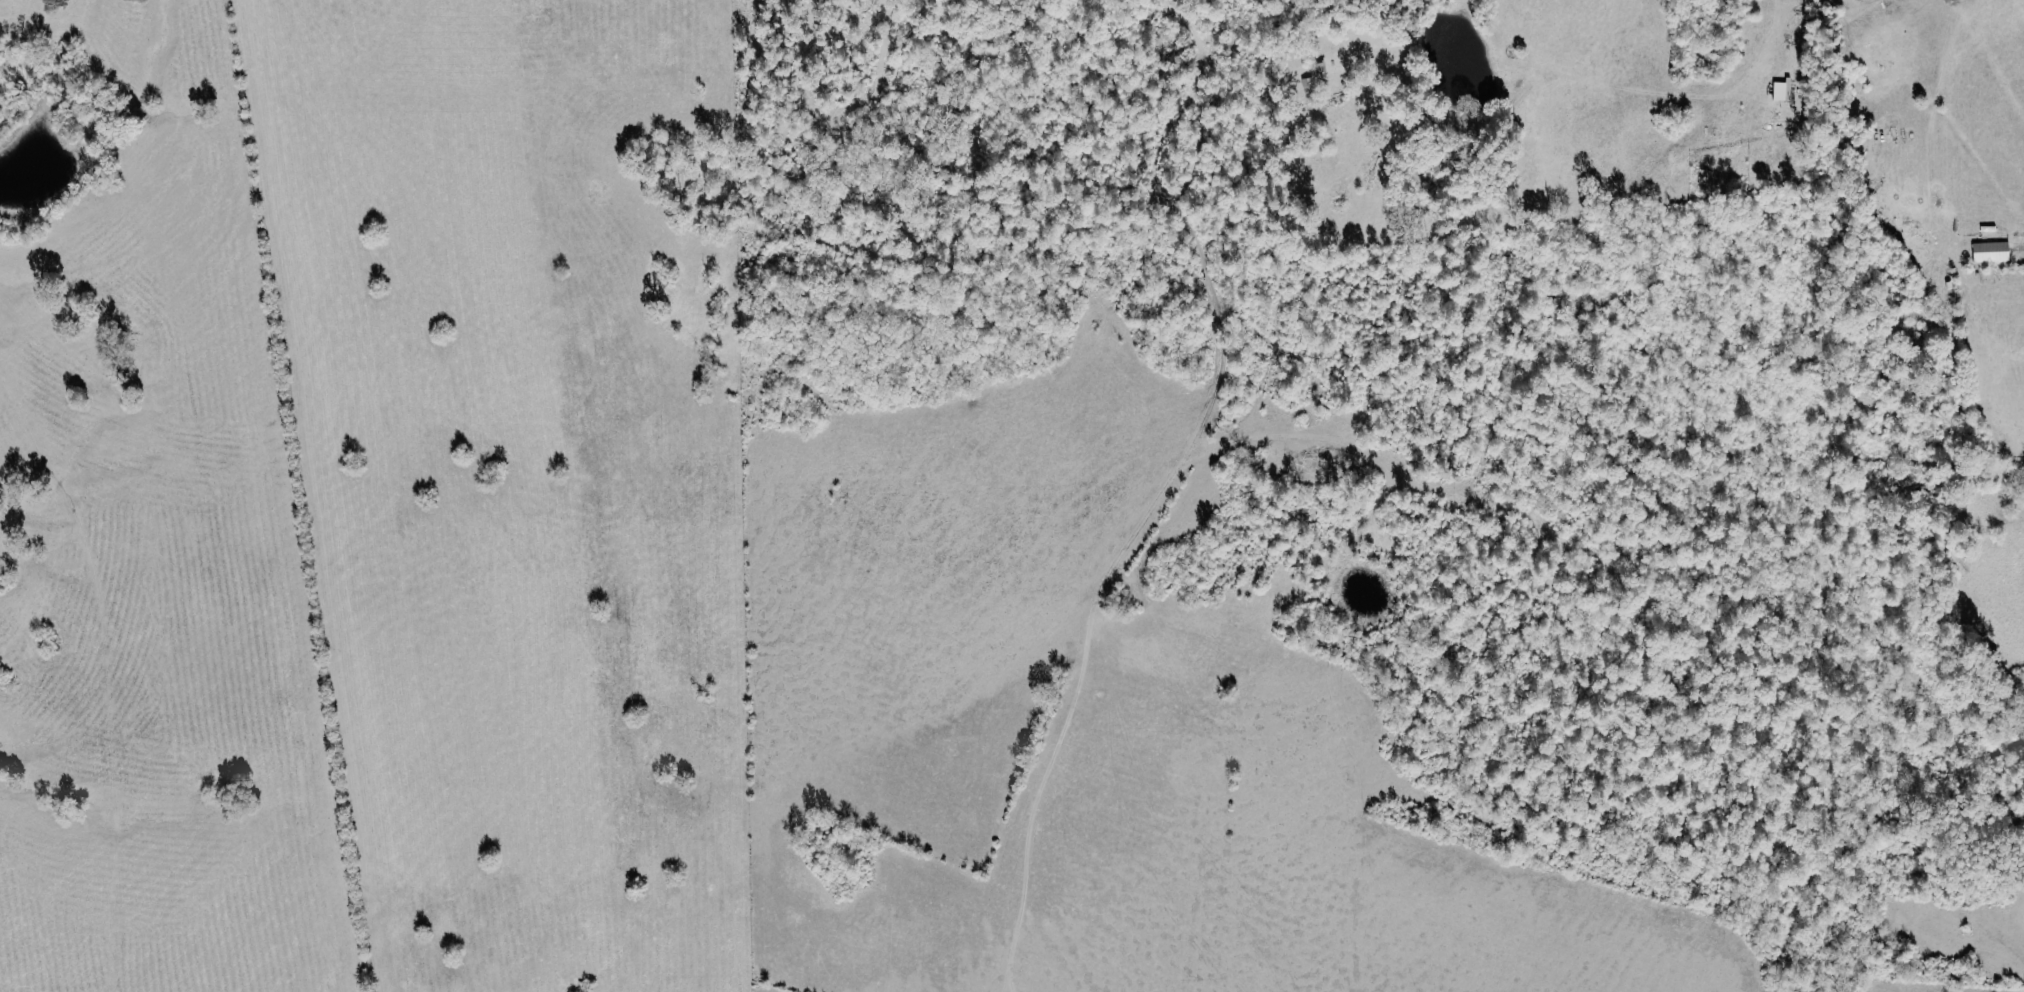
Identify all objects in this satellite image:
building: (1776, 90)
building: (1988, 251)

